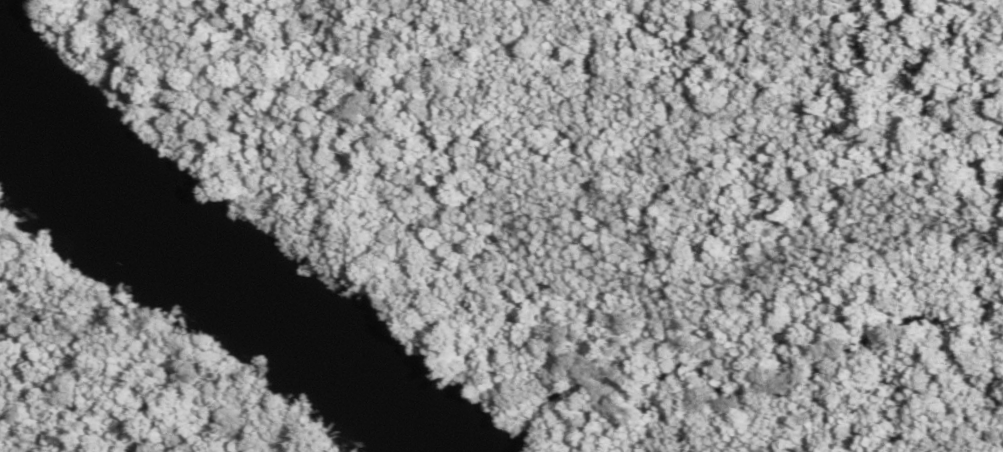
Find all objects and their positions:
river: (213, 269)

